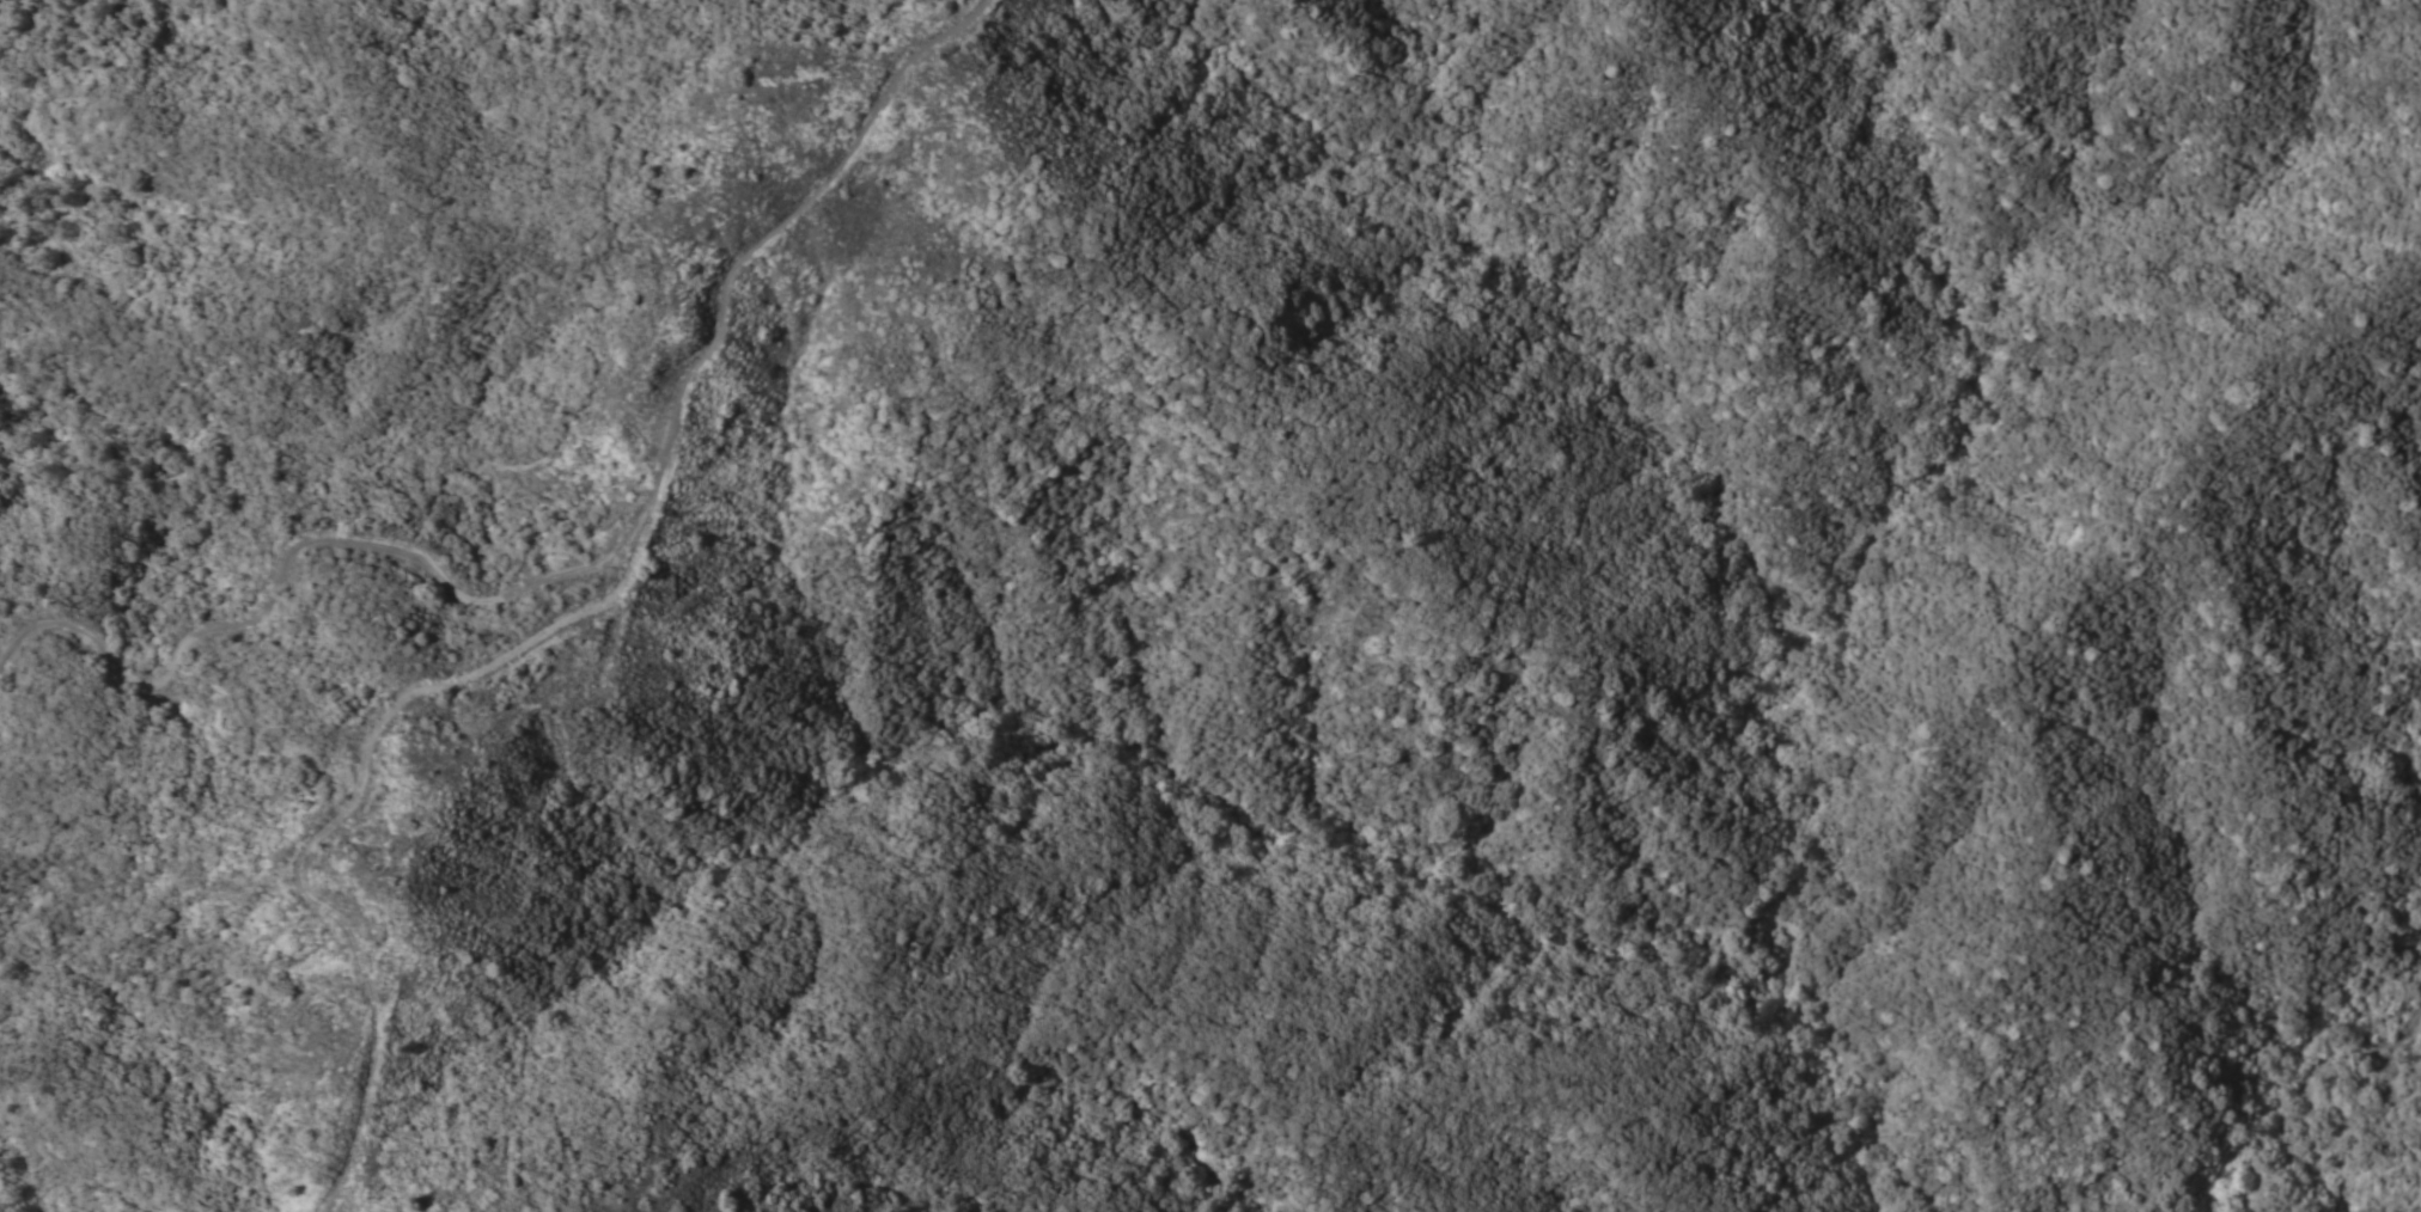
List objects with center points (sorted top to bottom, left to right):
road: (779, 228)
road: (322, 576)
road: (352, 810)
road: (2297, 1084)

